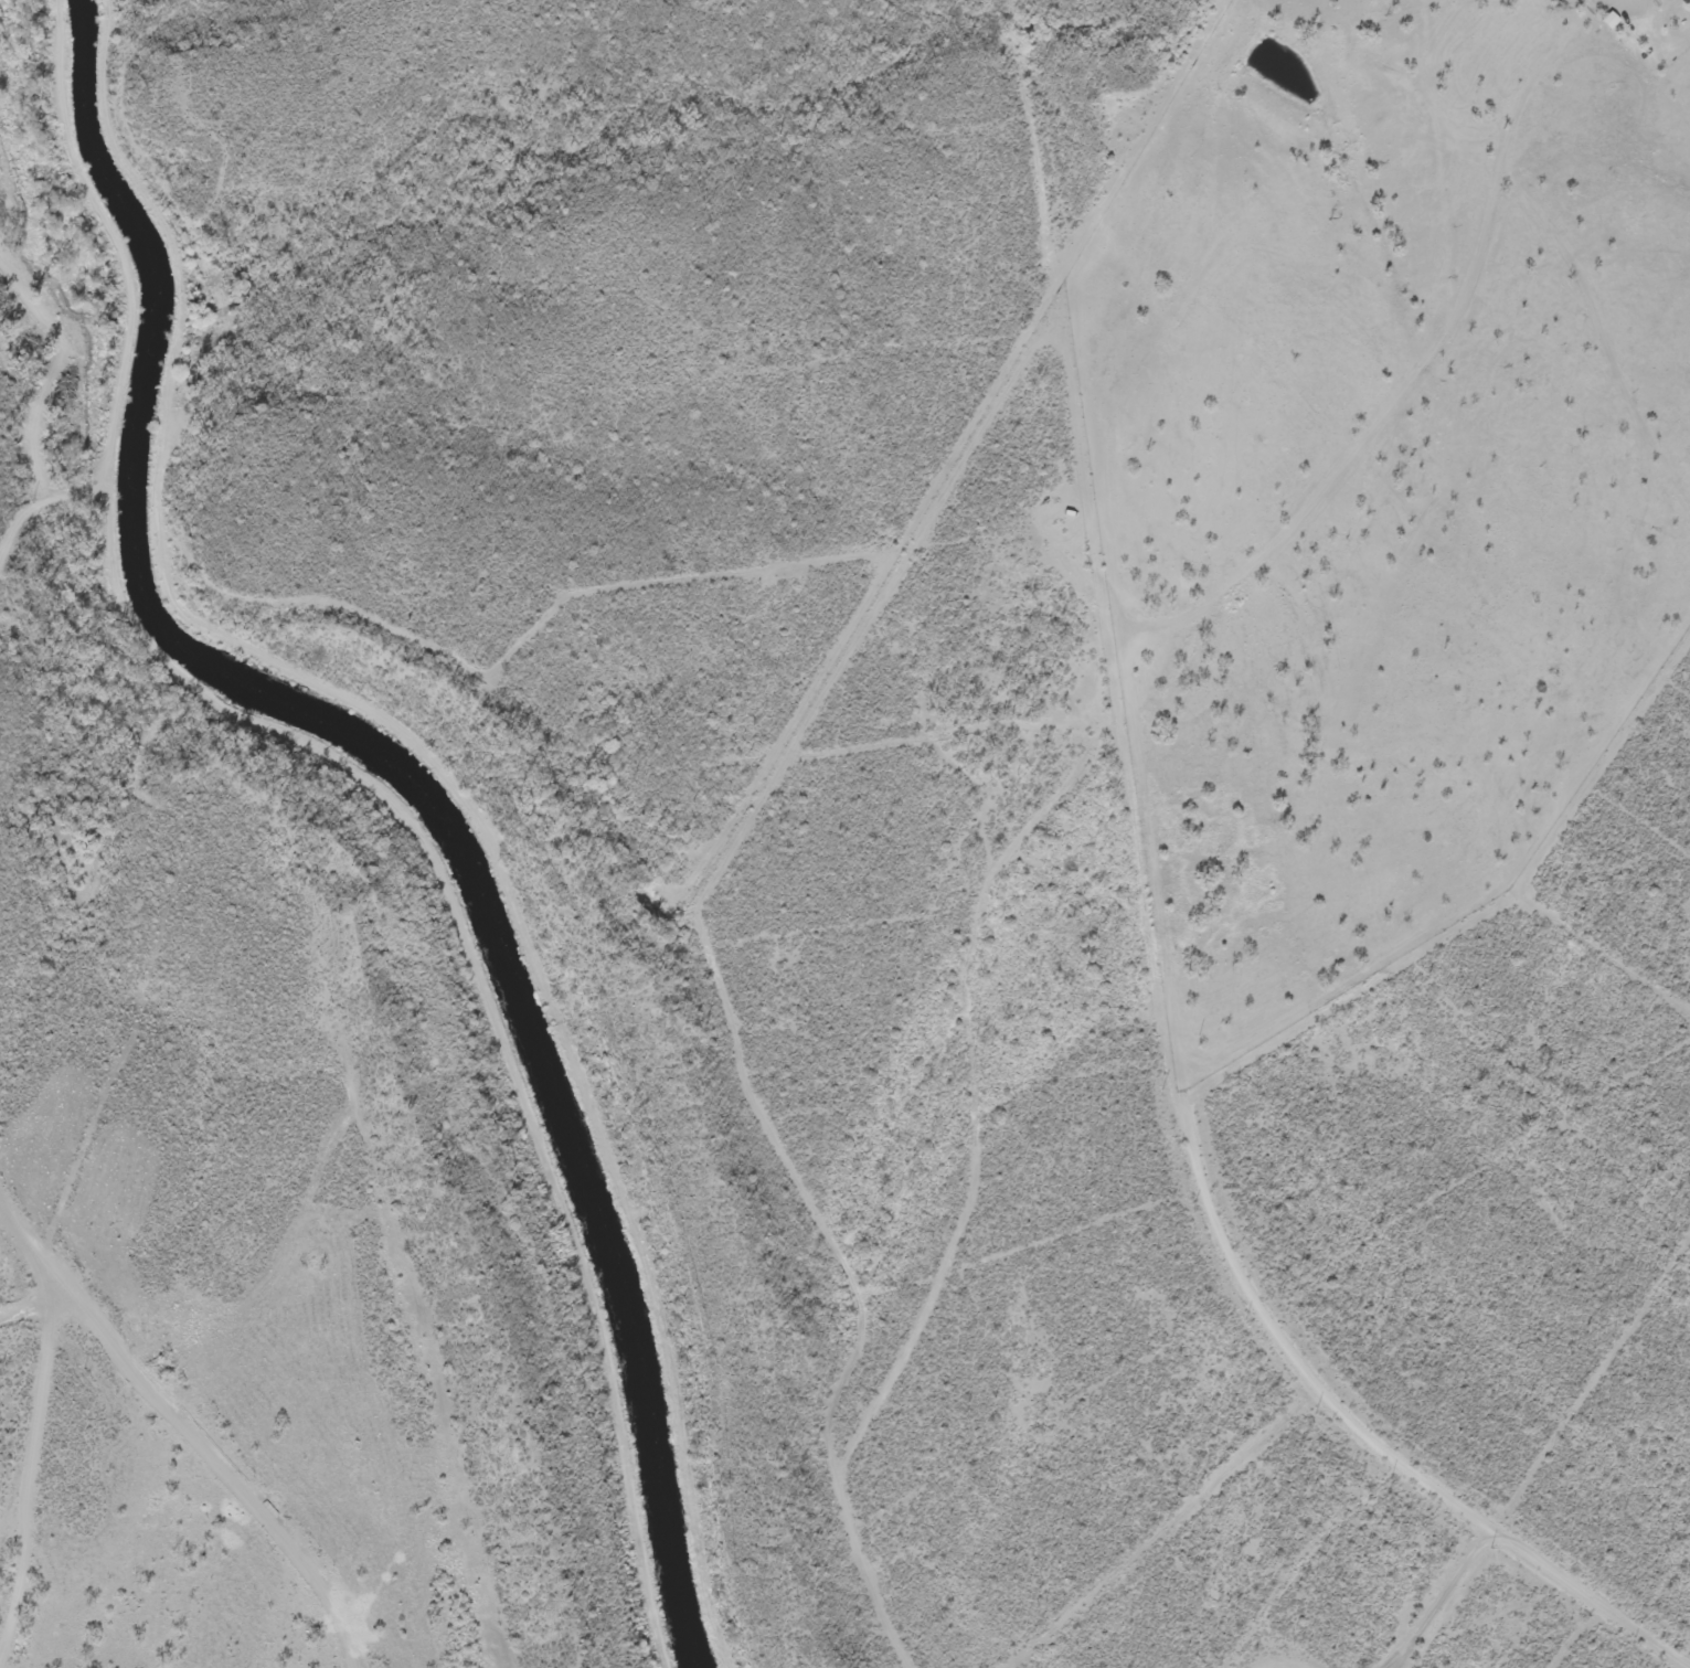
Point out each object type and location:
building: (1654, 2)
road: (883, 541)
road: (1201, 637)
road: (848, 1378)
road: (189, 1428)
road: (34, 1478)
road: (1534, 1607)

